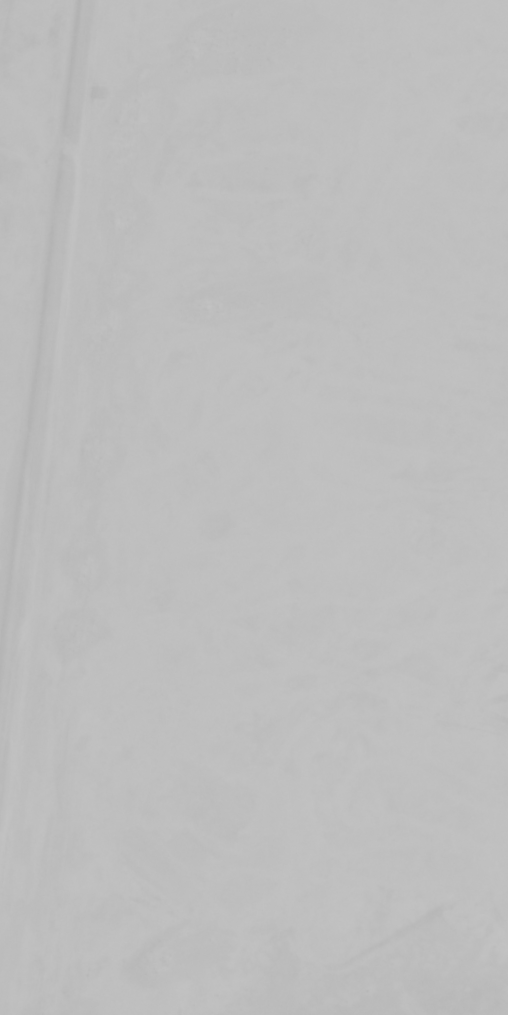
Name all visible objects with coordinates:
road: (34, 308)
building: (501, 727)
building: (505, 824)
building: (507, 878)
building: (506, 952)

